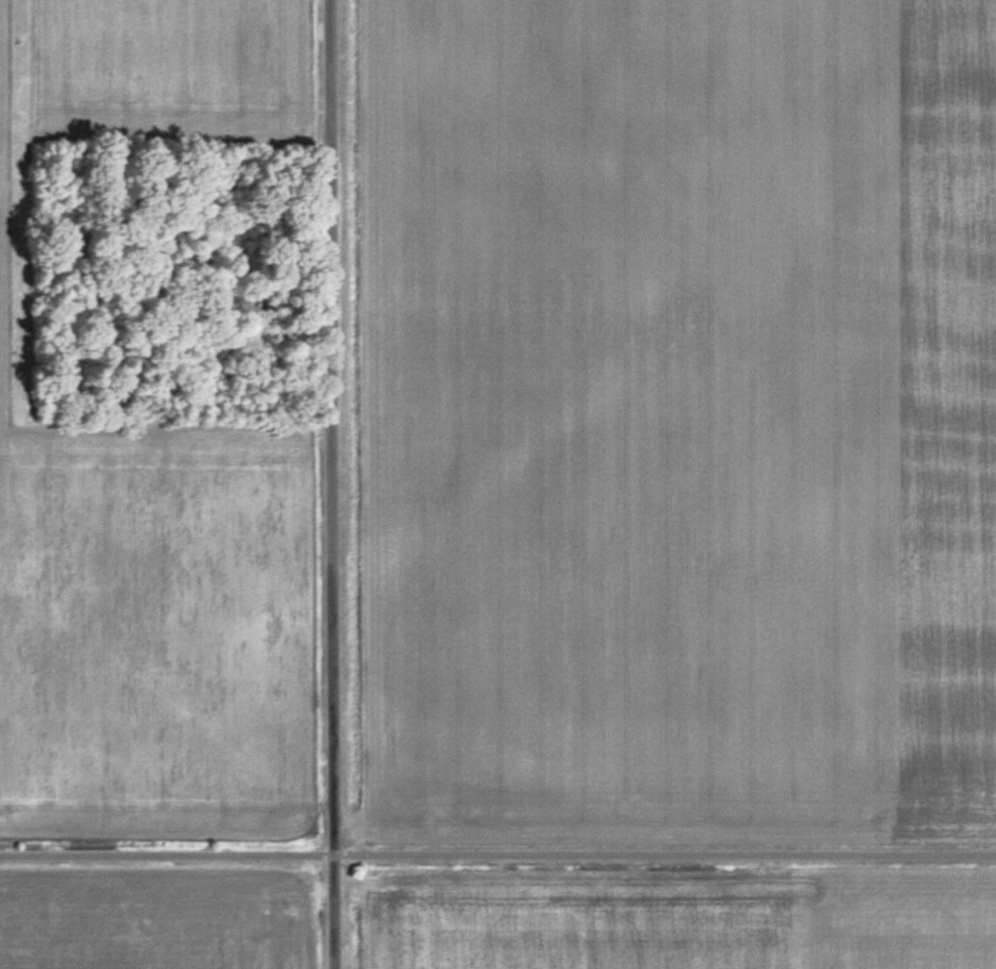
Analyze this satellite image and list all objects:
road: (331, 427)
road: (664, 854)
road: (166, 855)
road: (333, 912)

